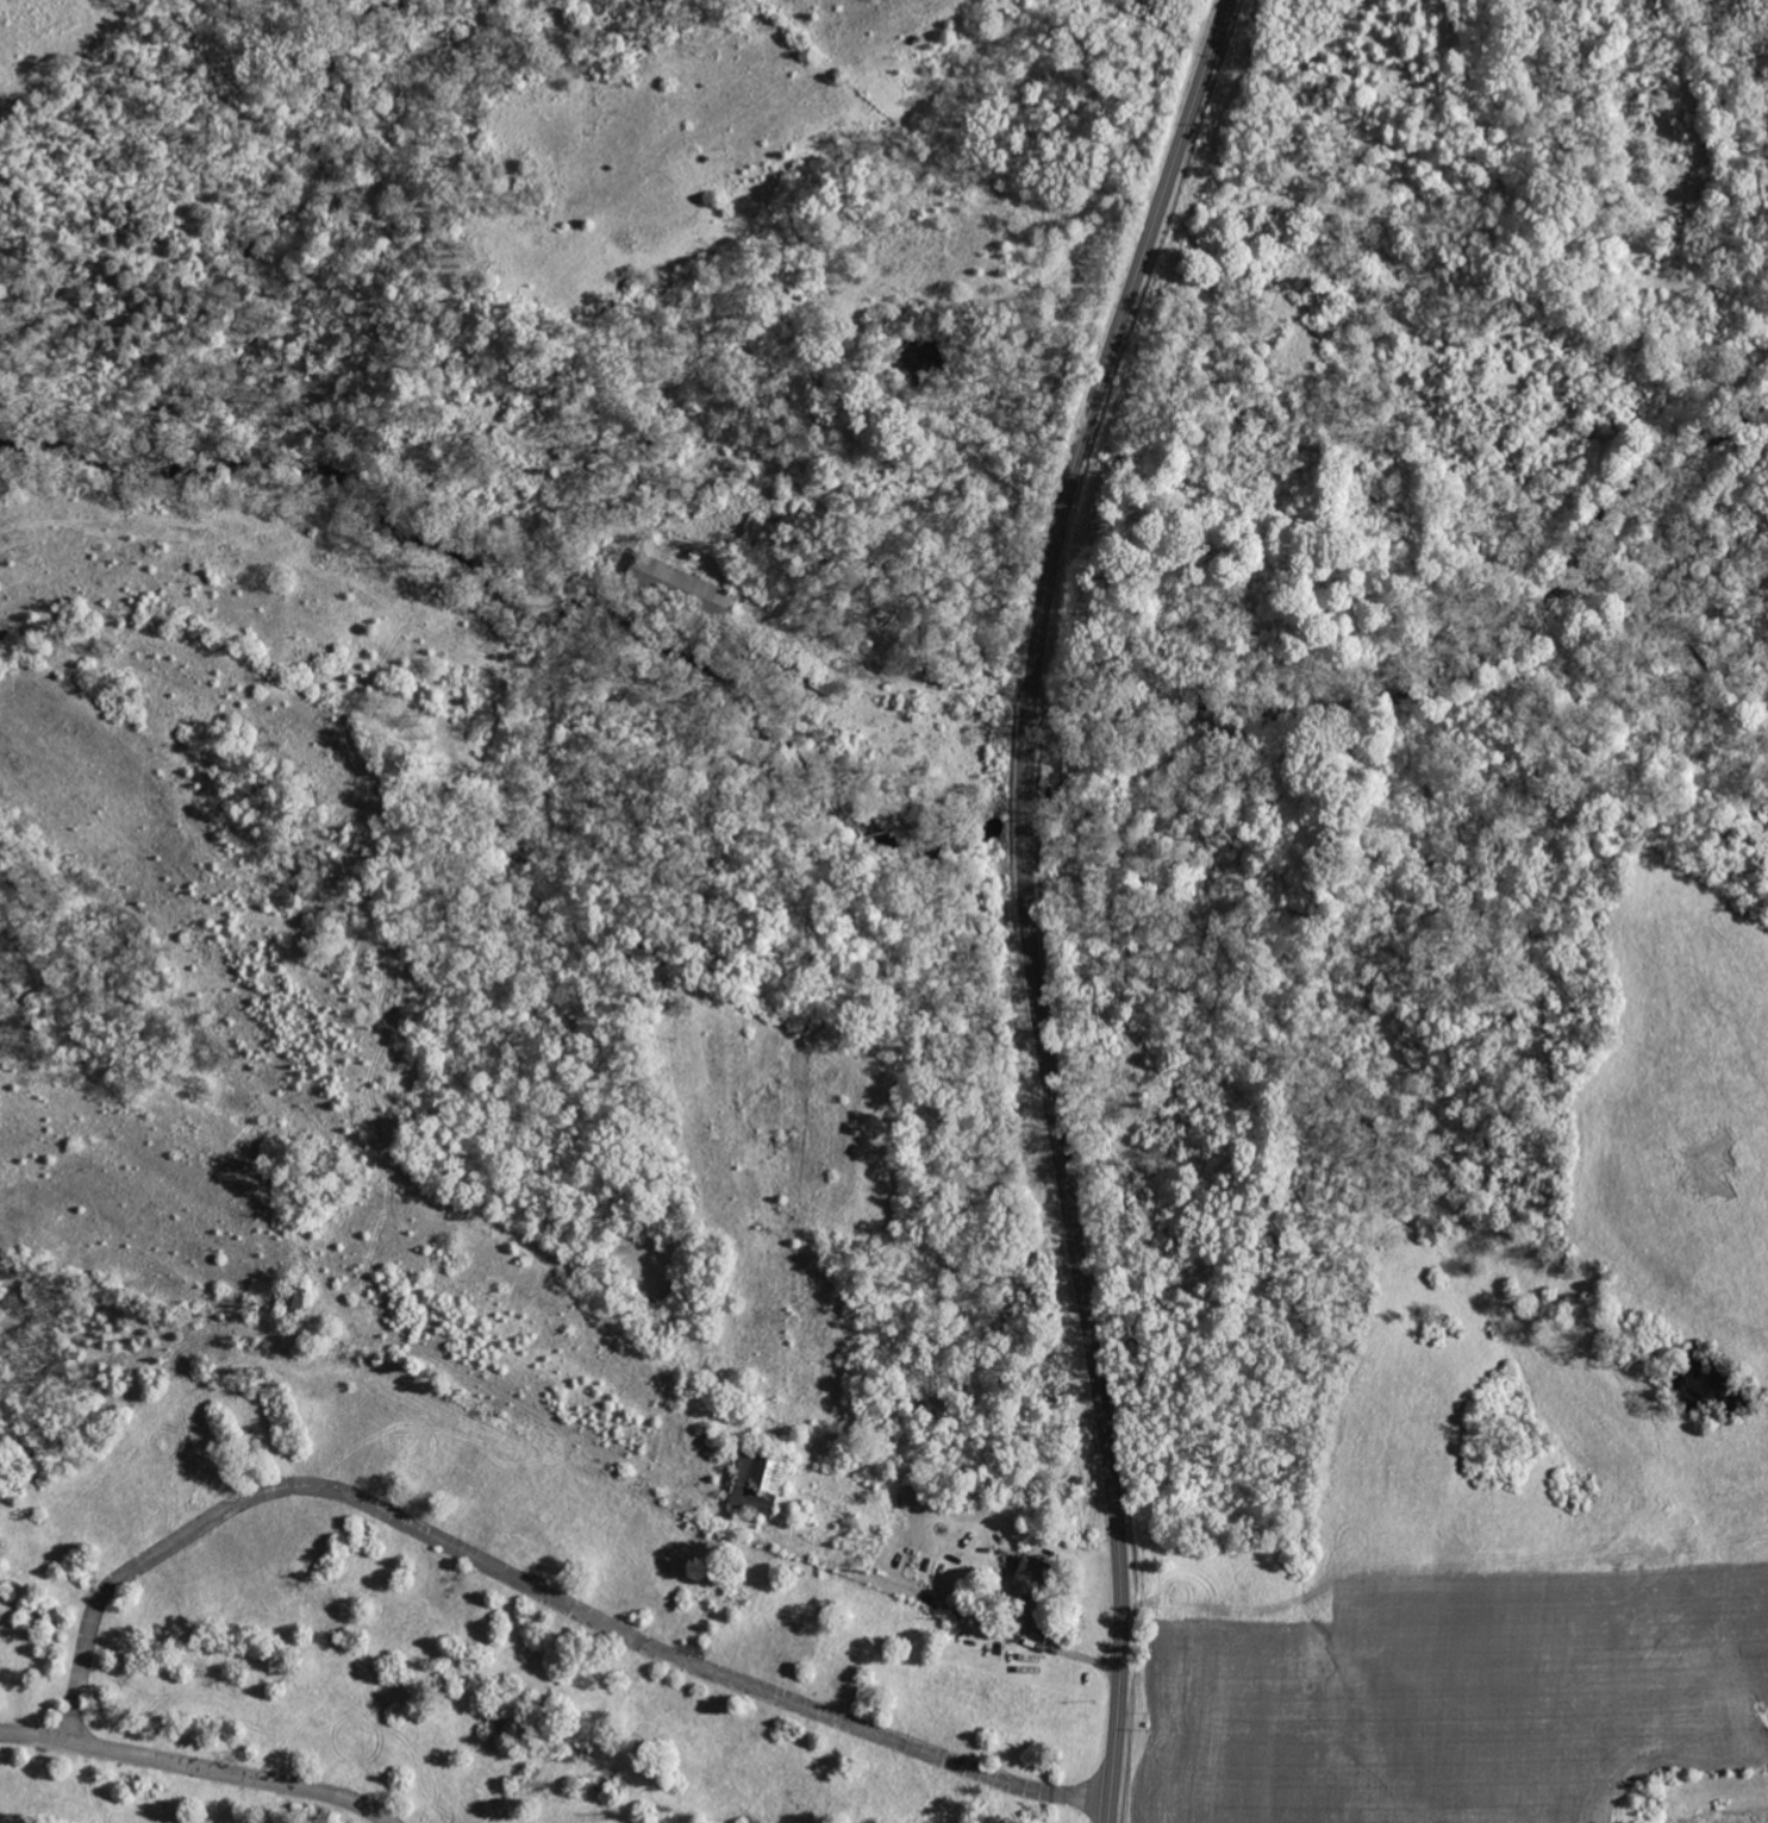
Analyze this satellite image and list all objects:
park: (186, 357)
building: (682, 583)
road: (891, 670)
road: (1029, 900)
crop: (206, 1092)
building: (295, 1297)
building: (760, 1481)
crop: (1512, 1485)
building: (1032, 1575)
road: (525, 1585)
road: (196, 1767)

